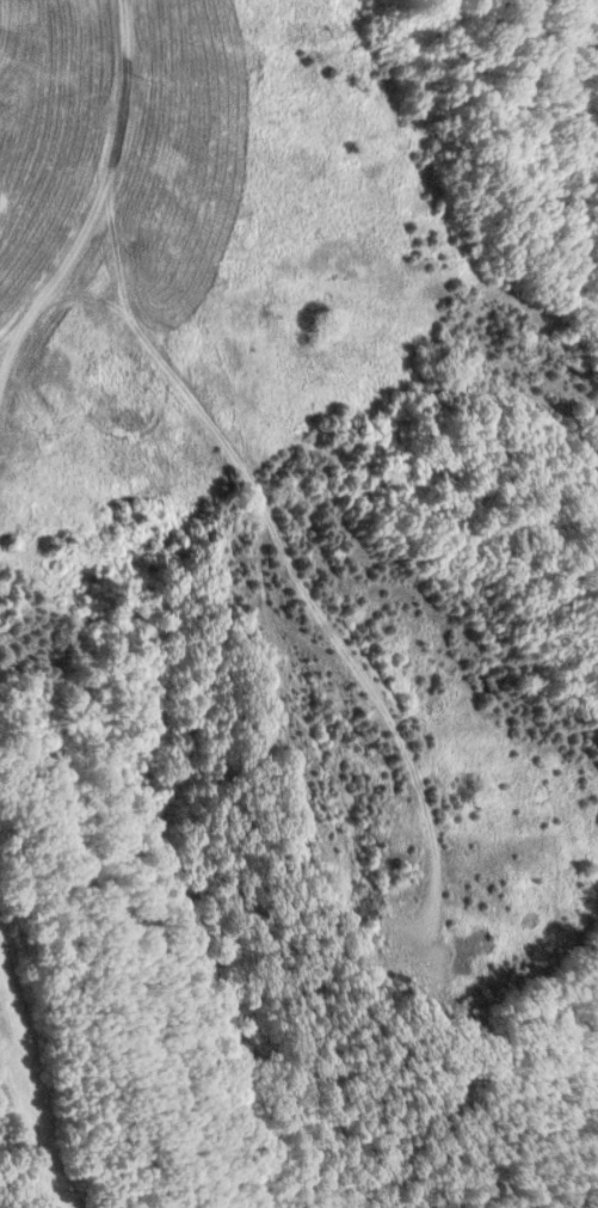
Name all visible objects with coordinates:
road: (104, 194)
road: (8, 381)

